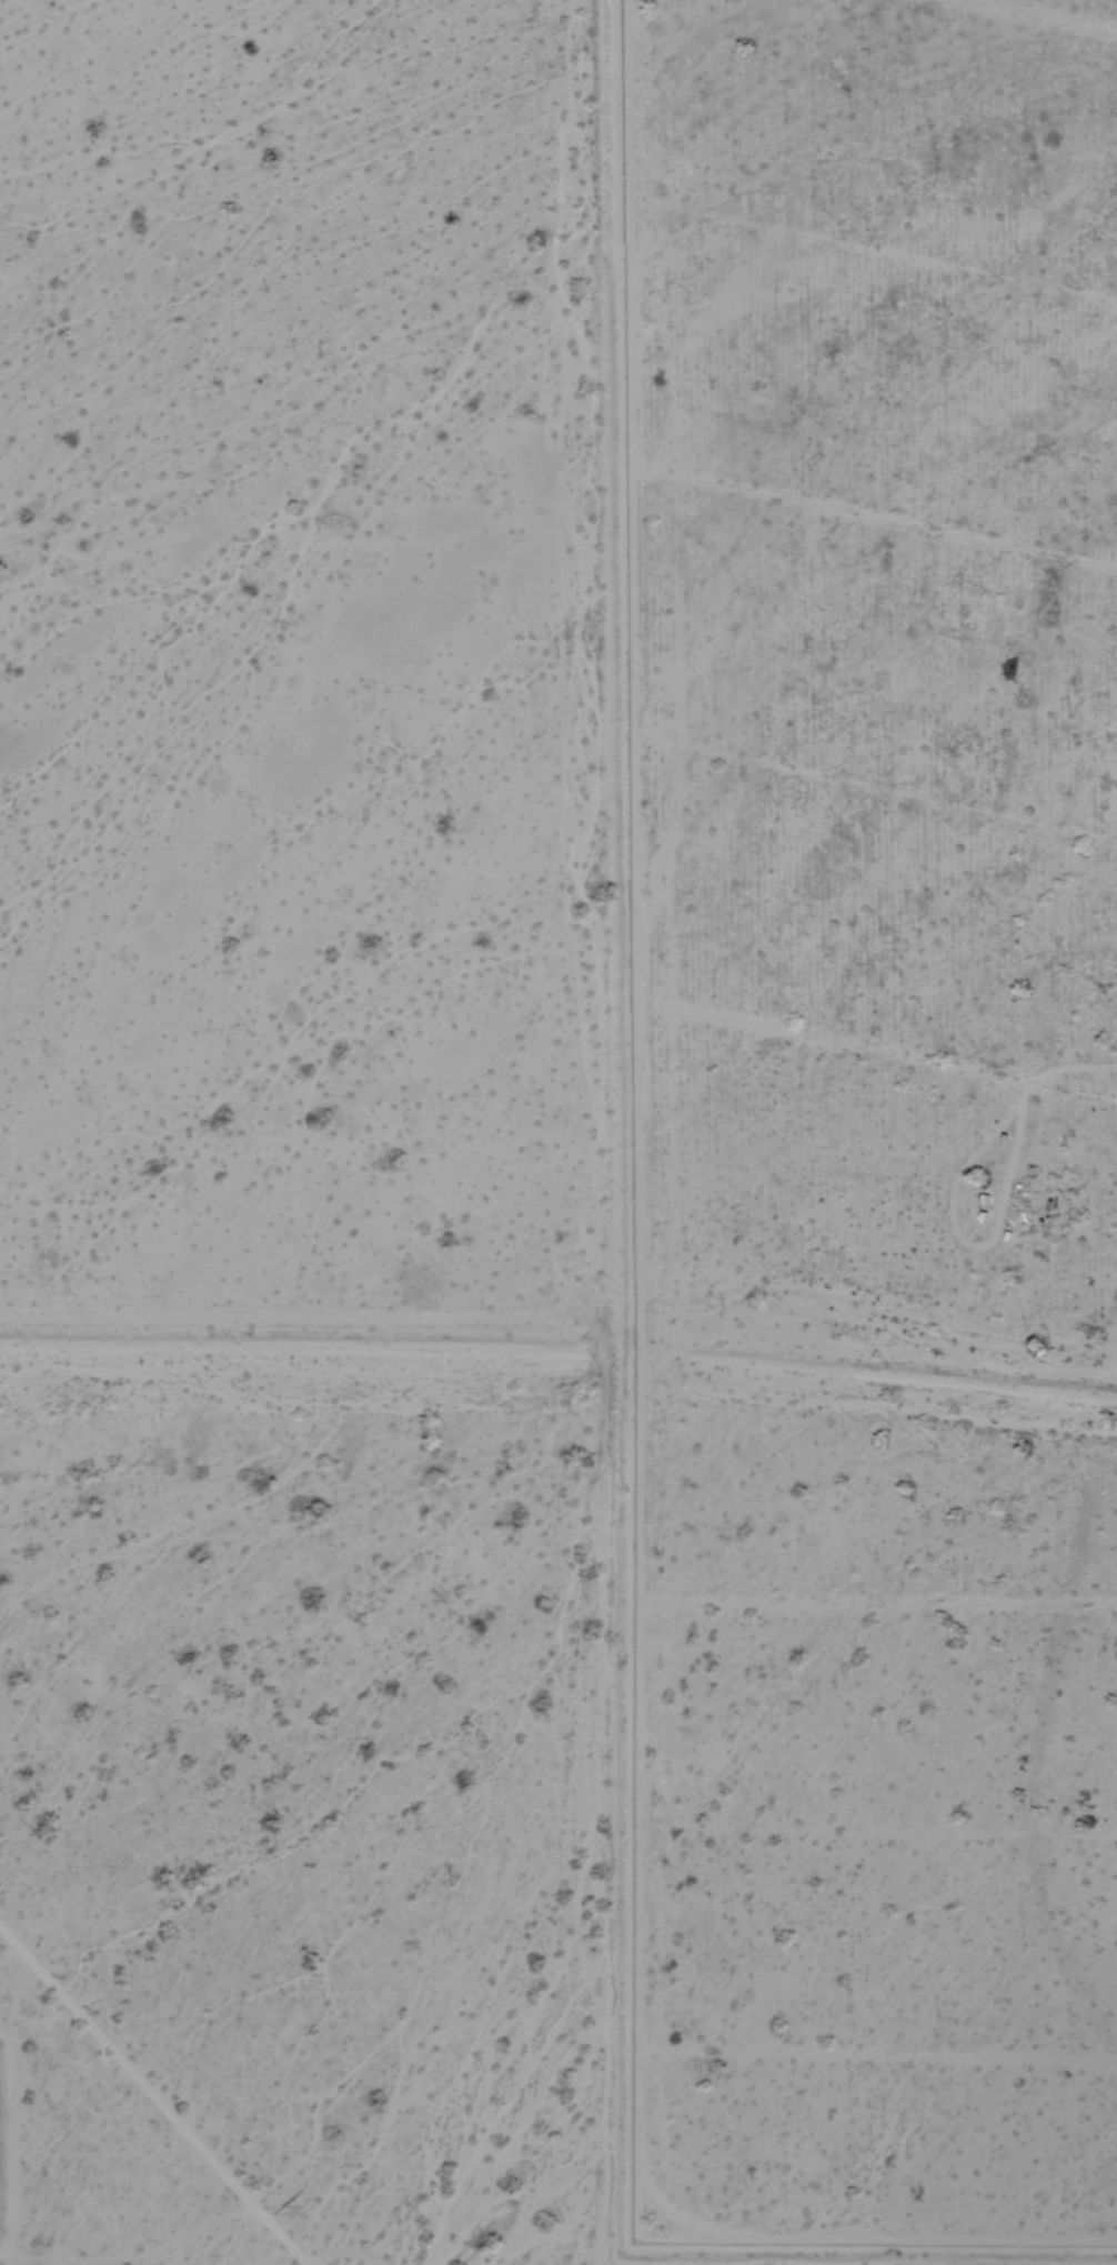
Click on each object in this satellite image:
power tower: (273, 2208)

